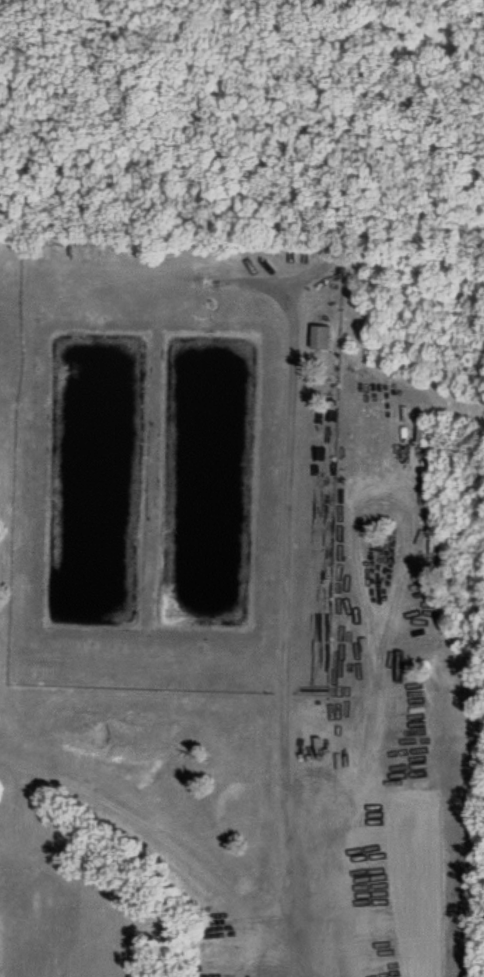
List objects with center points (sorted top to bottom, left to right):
road: (266, 40)
building: (317, 334)
landfill: (241, 605)
road: (279, 634)

